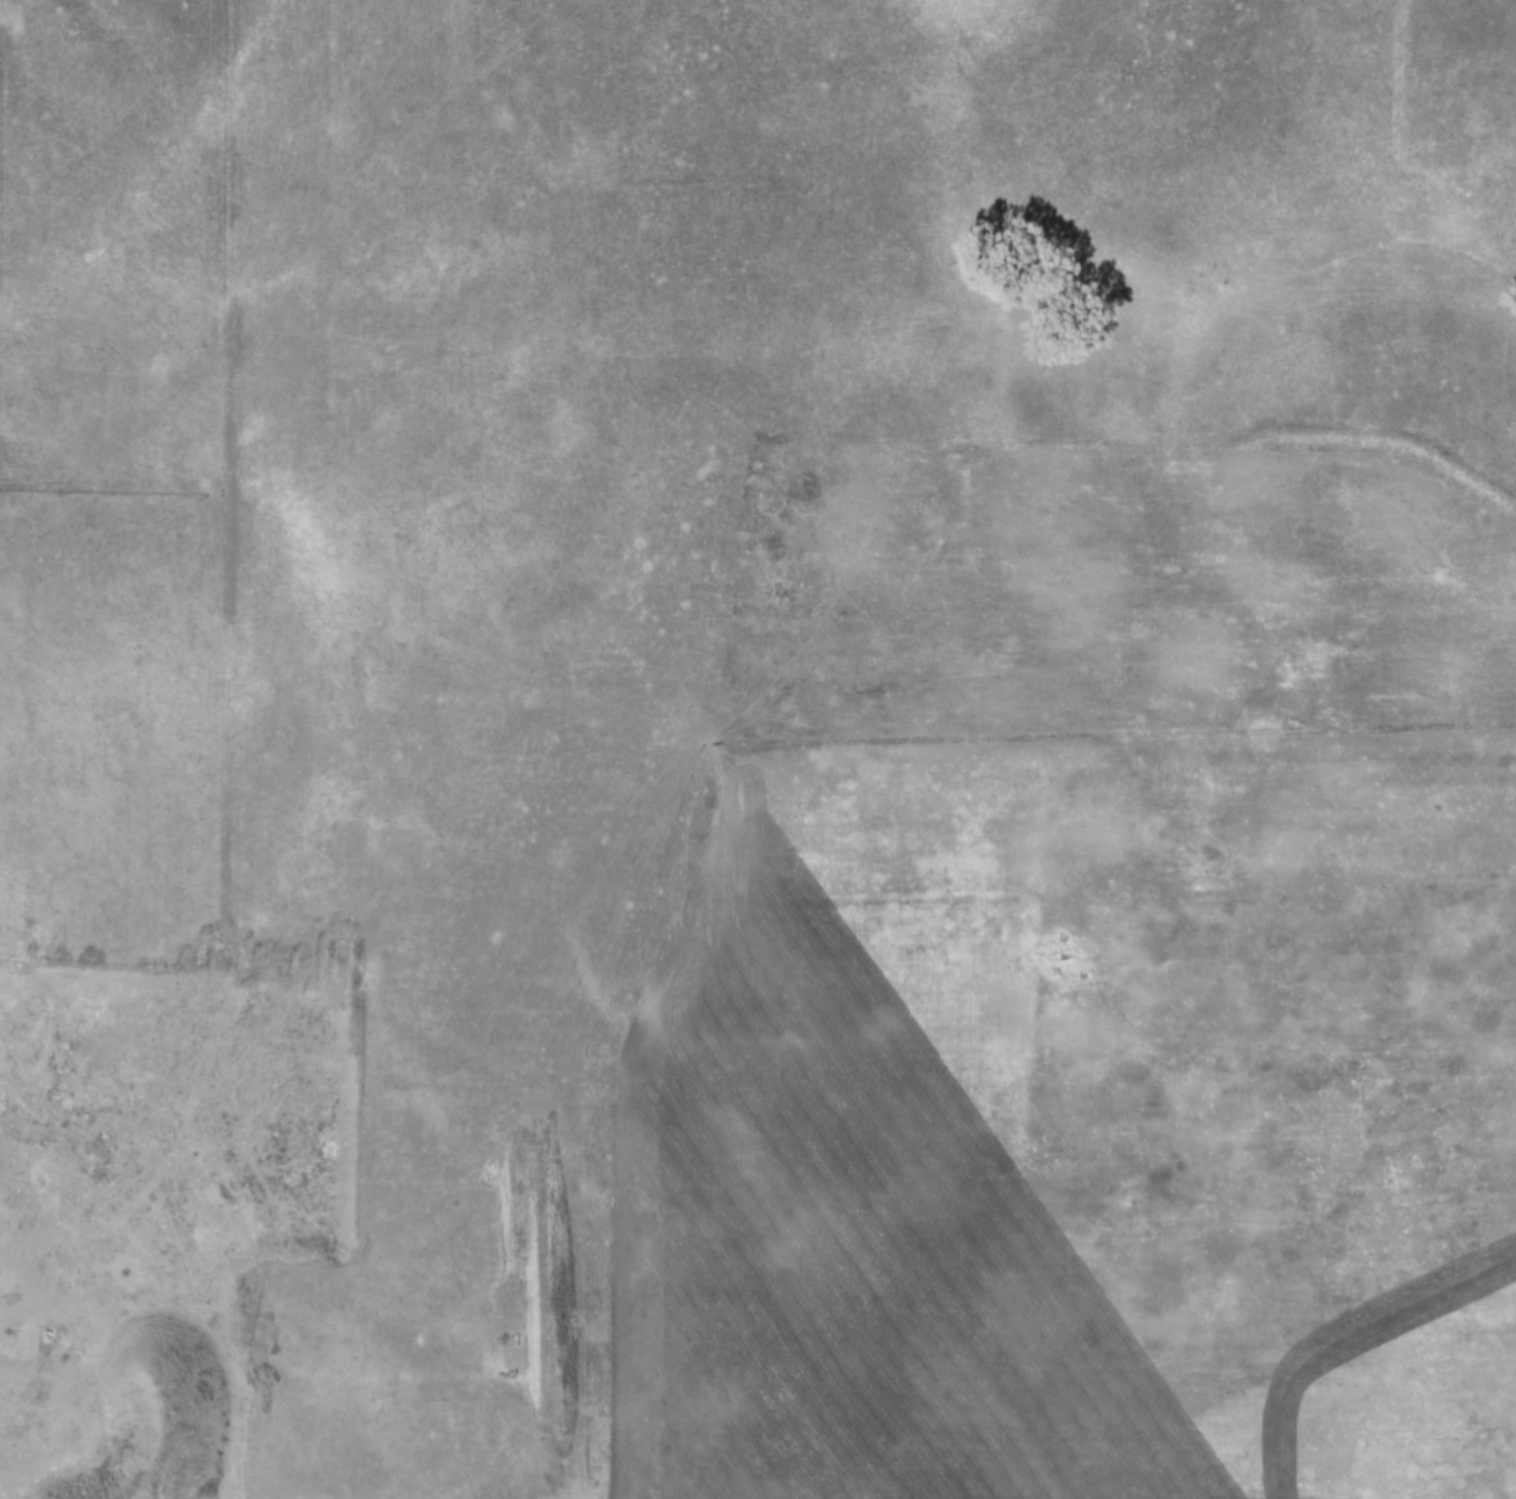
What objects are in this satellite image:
road: (228, 749)

